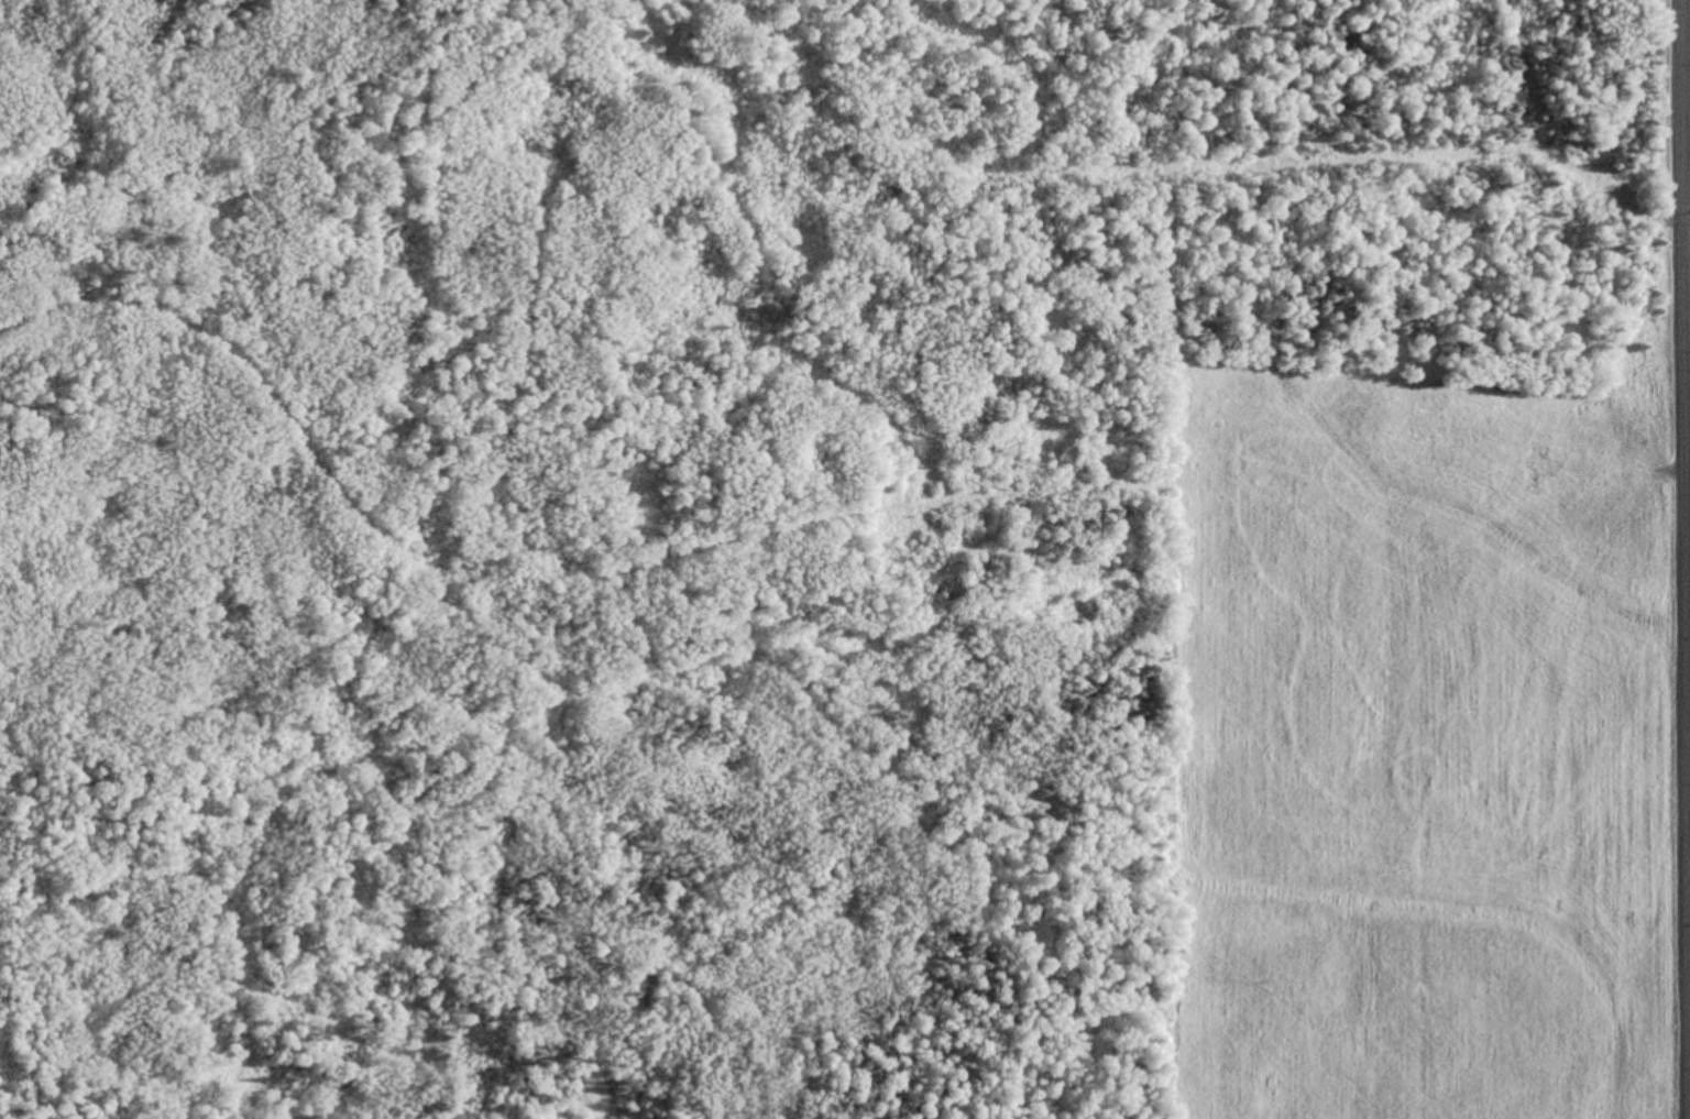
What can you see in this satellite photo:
building: (1567, 139)
road: (1684, 559)
crop: (1423, 748)

